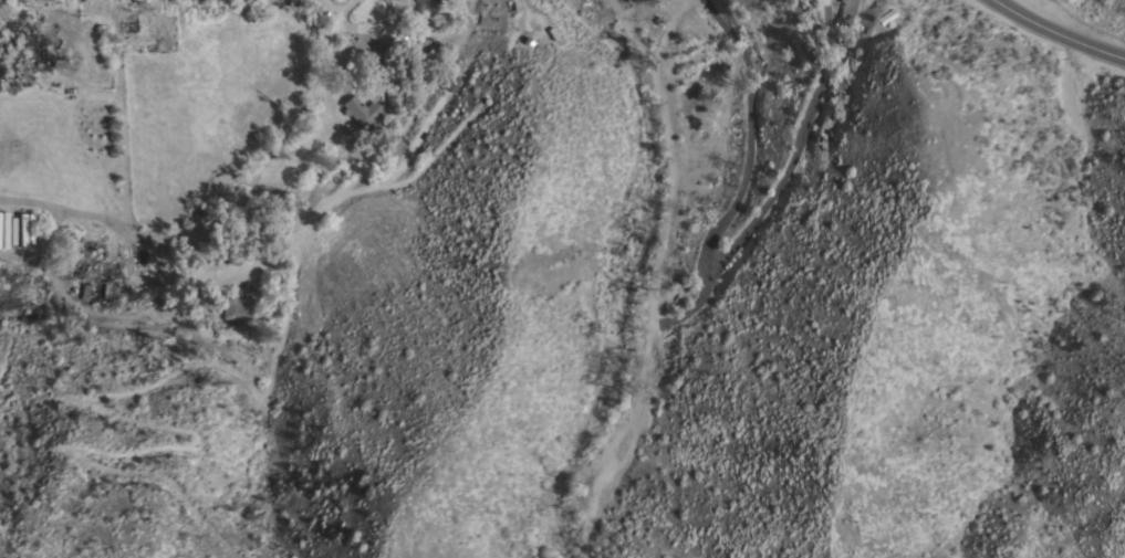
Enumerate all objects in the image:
building: (427, 6)
building: (847, 8)
building: (656, 19)
road: (558, 20)
building: (150, 28)
road: (1055, 35)
building: (167, 38)
building: (420, 50)
building: (19, 52)
building: (43, 53)
crop: (211, 81)
building: (452, 82)
building: (840, 83)
building: (363, 109)
road: (748, 139)
road: (777, 182)
building: (238, 307)

